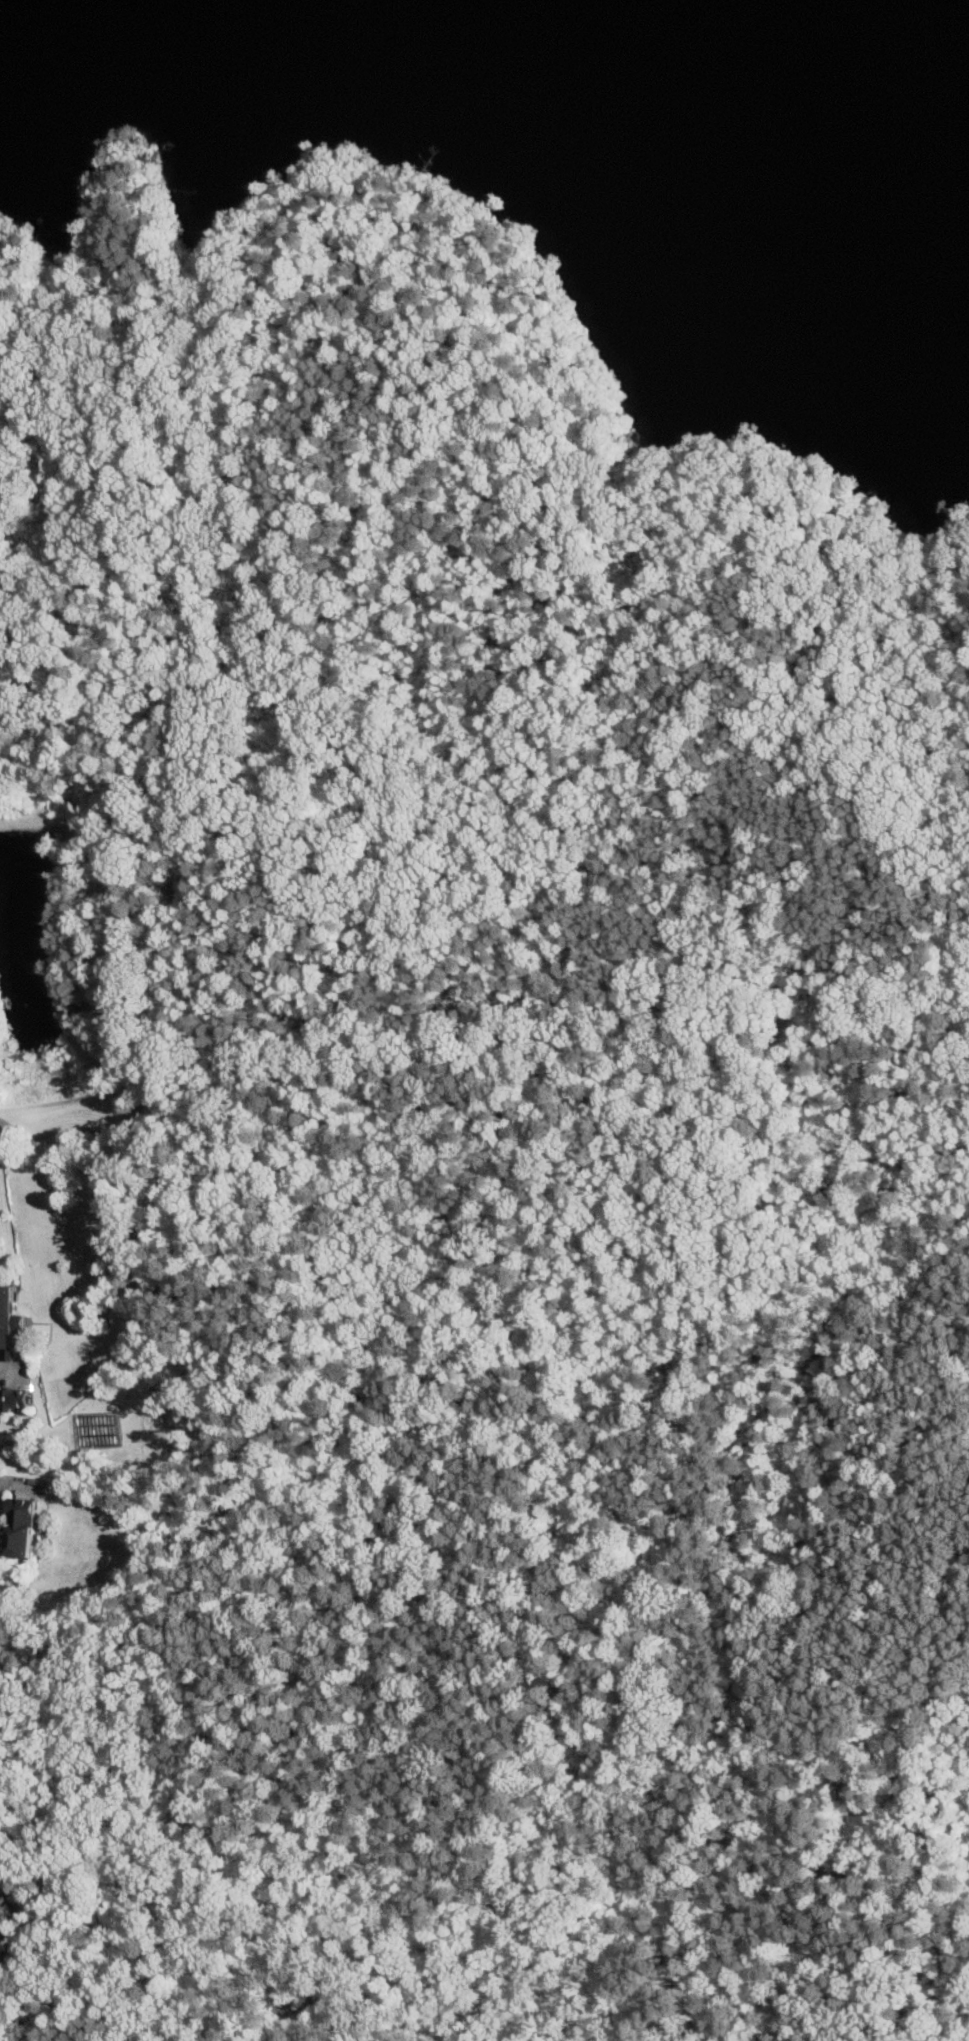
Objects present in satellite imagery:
road: (564, 490)
road: (316, 958)
building: (10, 1320)
building: (15, 1399)
road: (13, 1484)
building: (21, 1531)
road: (888, 1651)

